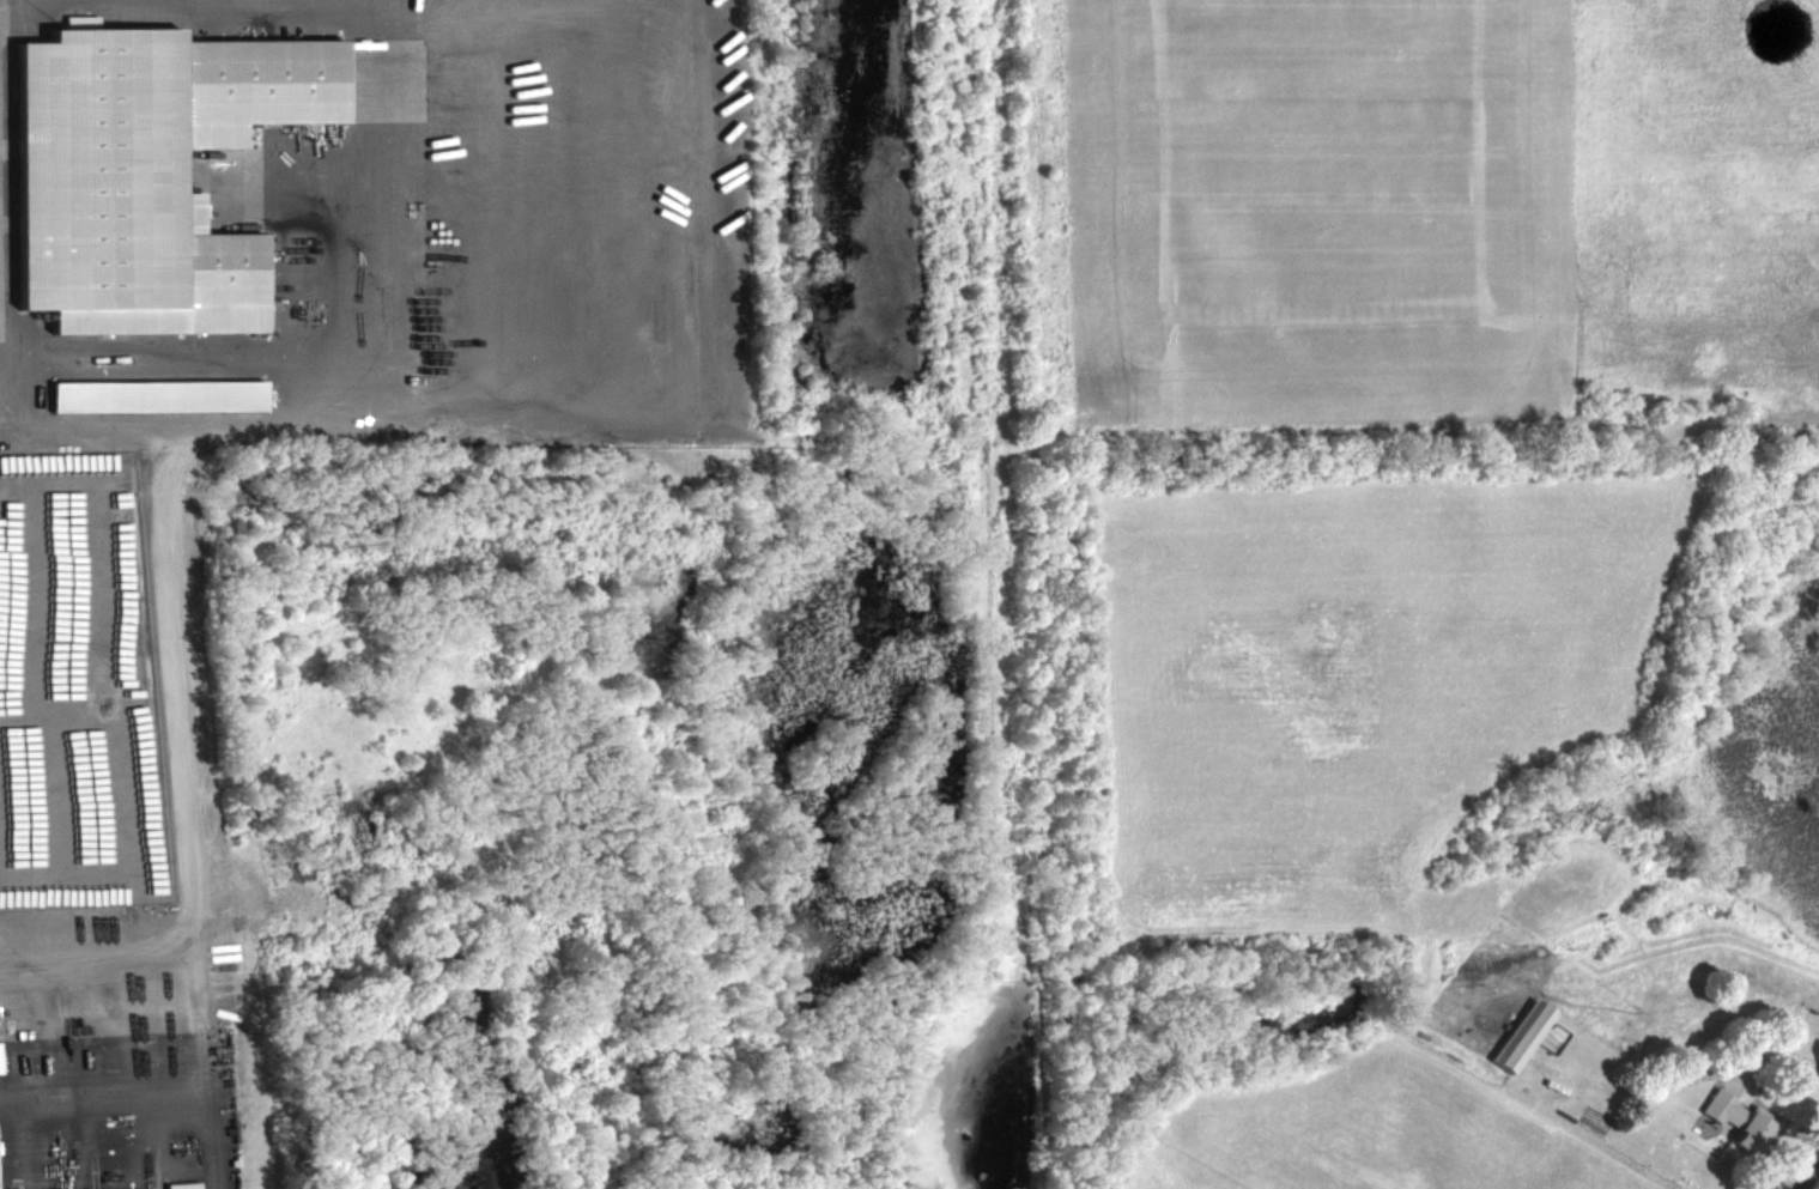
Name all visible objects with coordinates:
building: (146, 170)
building: (157, 395)
road: (404, 417)
road: (65, 429)
road: (187, 781)
building: (1516, 1037)
road: (202, 1062)
building: (1727, 1115)
road: (1808, 1173)
building: (175, 1185)

